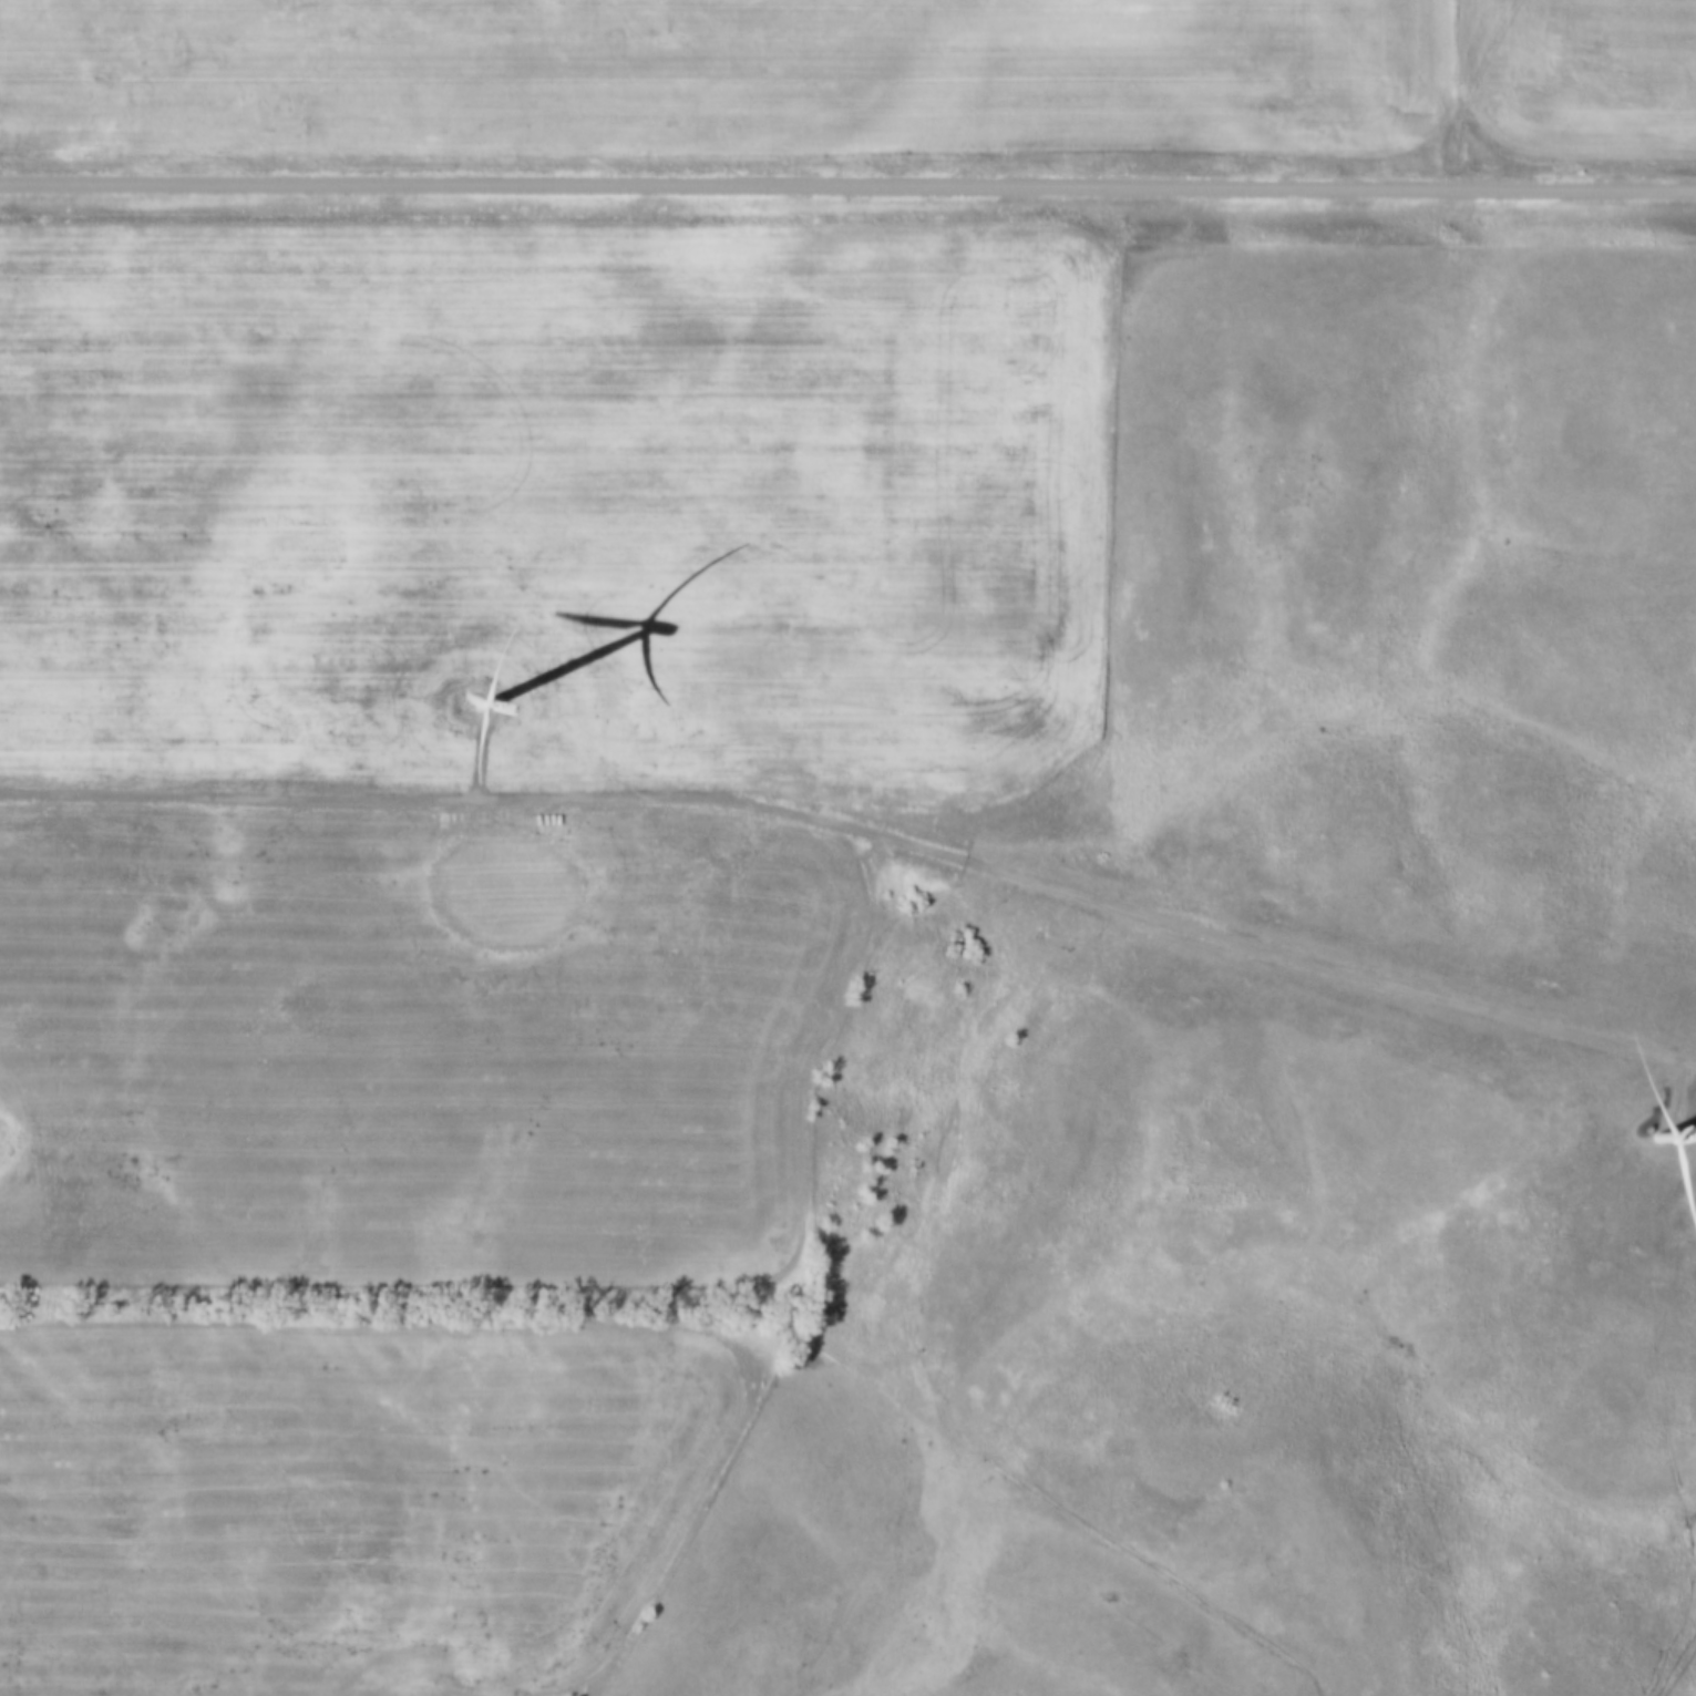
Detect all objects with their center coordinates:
road: (847, 178)
wind turbine: (481, 709)
wind turbine: (1656, 1139)

